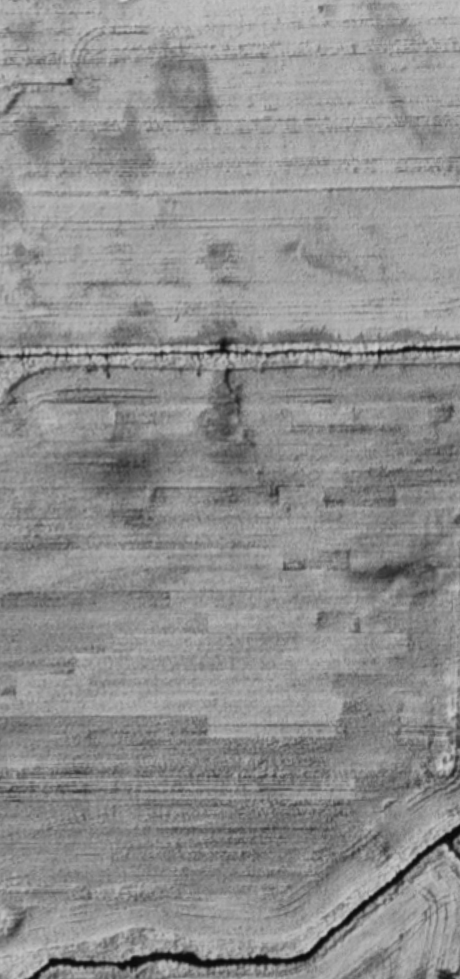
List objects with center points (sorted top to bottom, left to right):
river: (278, 957)

